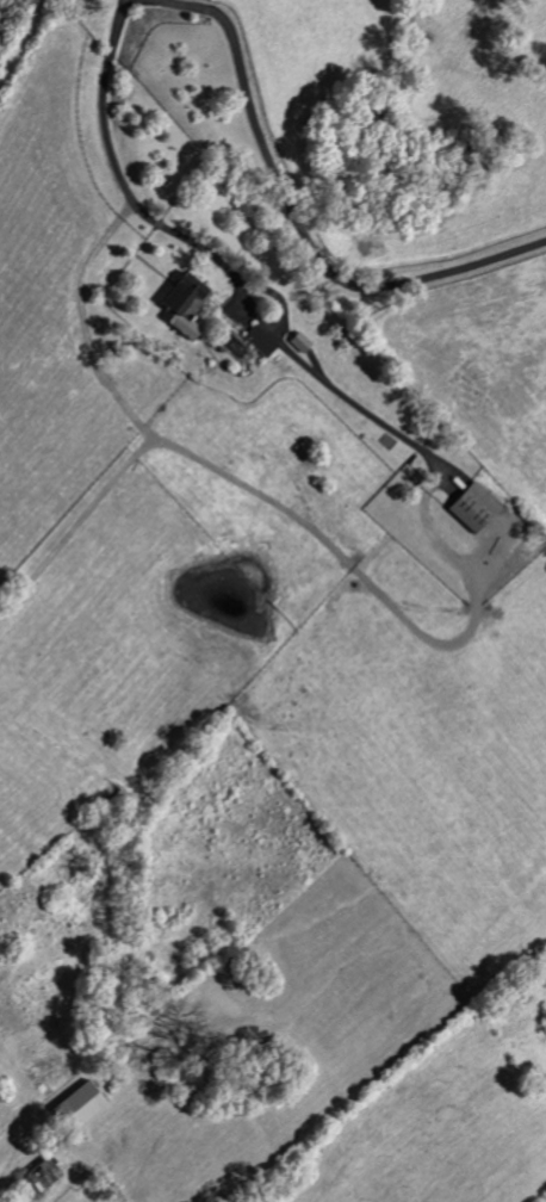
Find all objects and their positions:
road: (105, 101)
road: (296, 218)
building: (182, 306)
road: (272, 334)
building: (260, 342)
building: (473, 508)
building: (79, 1107)
building: (42, 1176)

